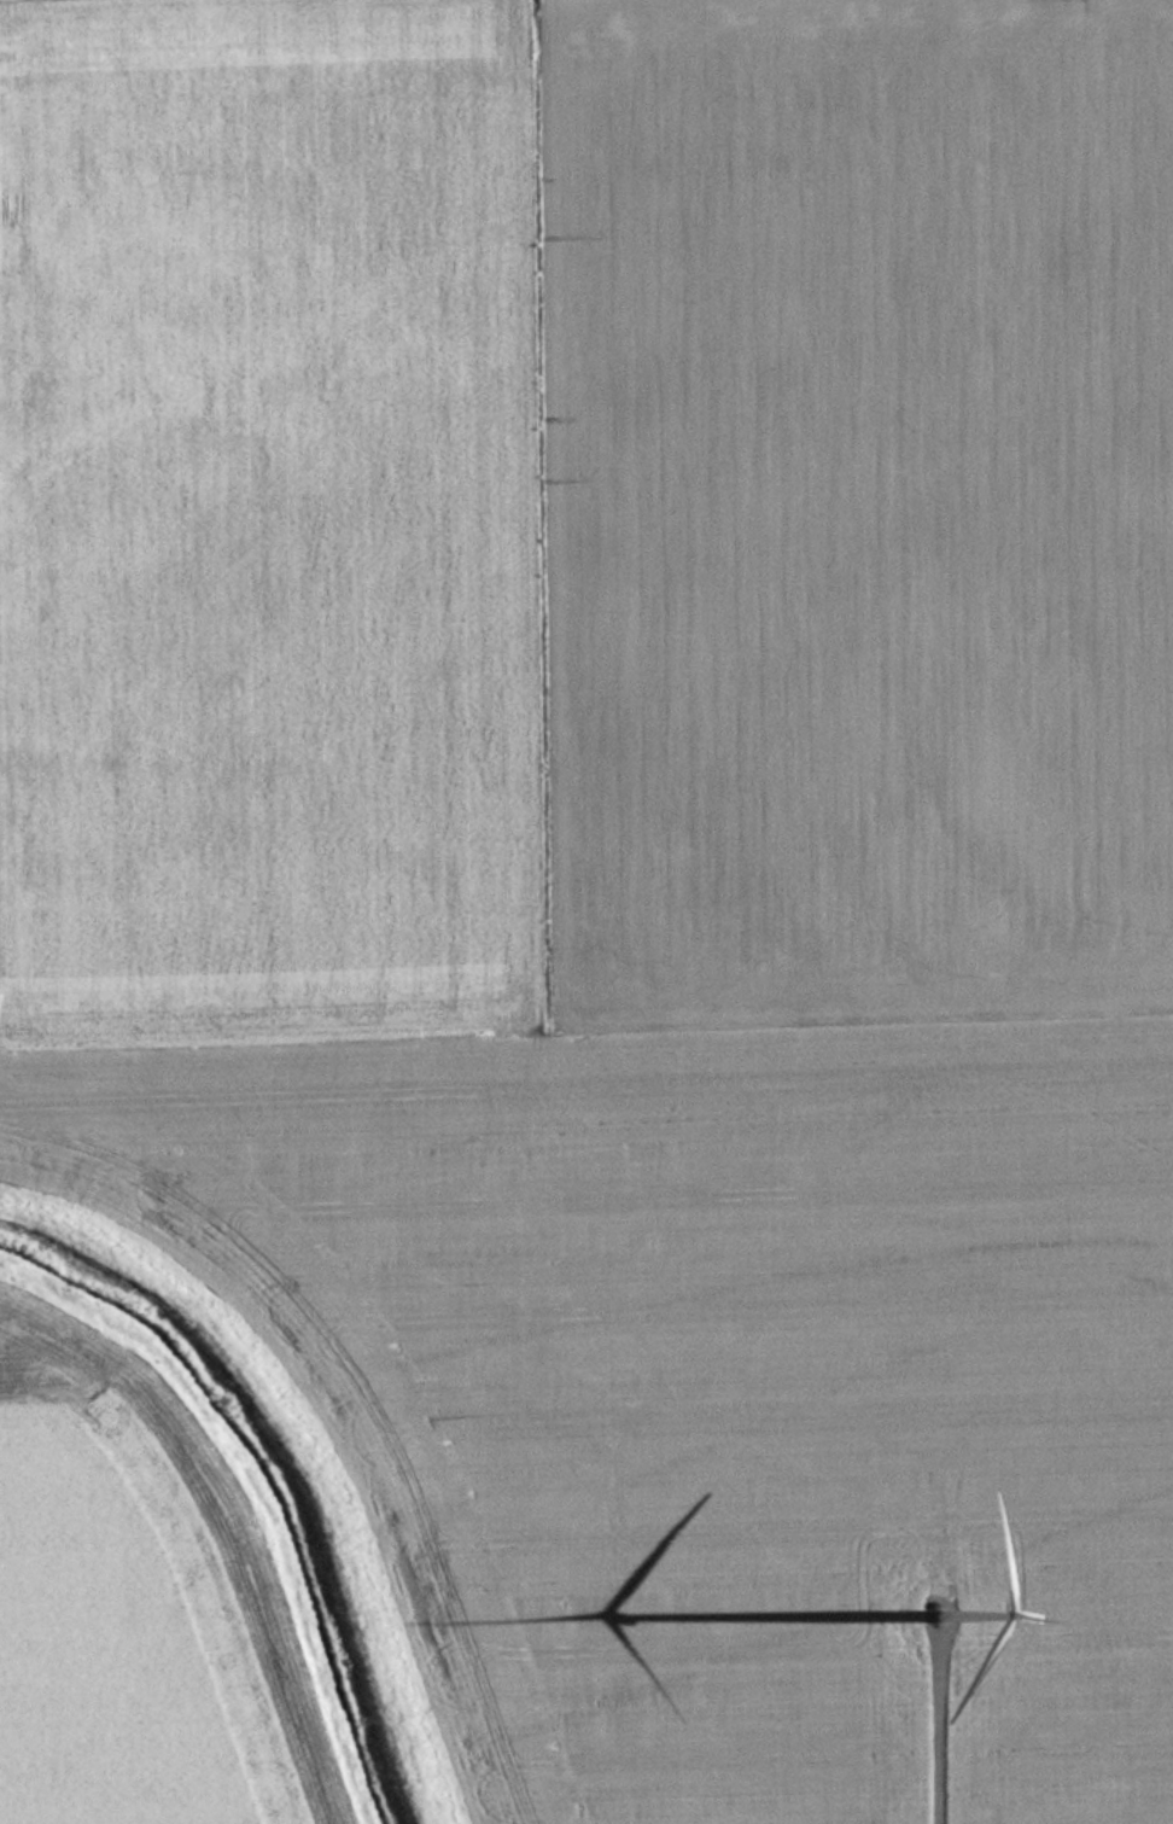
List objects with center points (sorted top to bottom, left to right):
wind turbine: (940, 1589)
road: (938, 1749)

